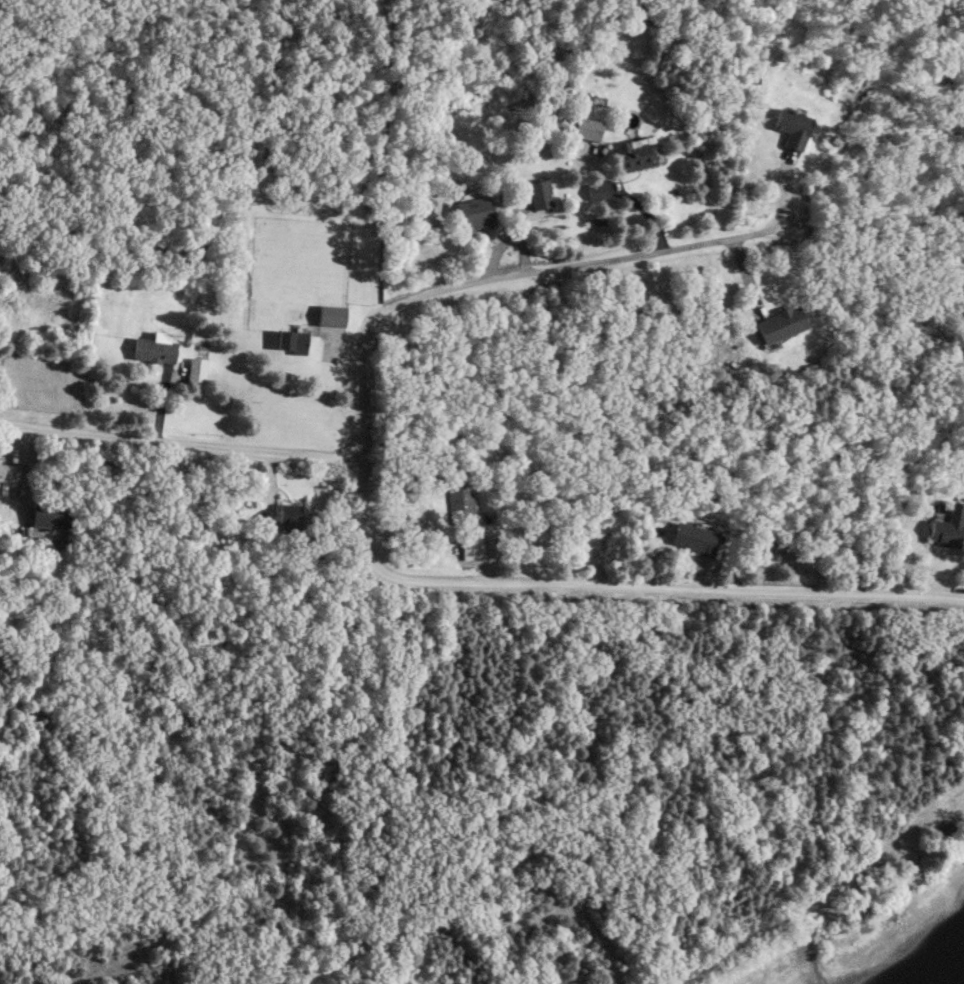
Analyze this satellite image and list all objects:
building: (790, 127)
building: (585, 129)
building: (633, 154)
building: (595, 191)
building: (538, 194)
building: (473, 211)
road: (497, 279)
building: (328, 315)
building: (777, 324)
building: (288, 342)
building: (152, 349)
building: (194, 371)
road: (176, 438)
building: (4, 471)
building: (459, 502)
building: (46, 512)
building: (285, 517)
building: (947, 527)
building: (691, 538)
building: (469, 548)
road: (611, 587)
building: (942, 829)
road: (825, 894)

